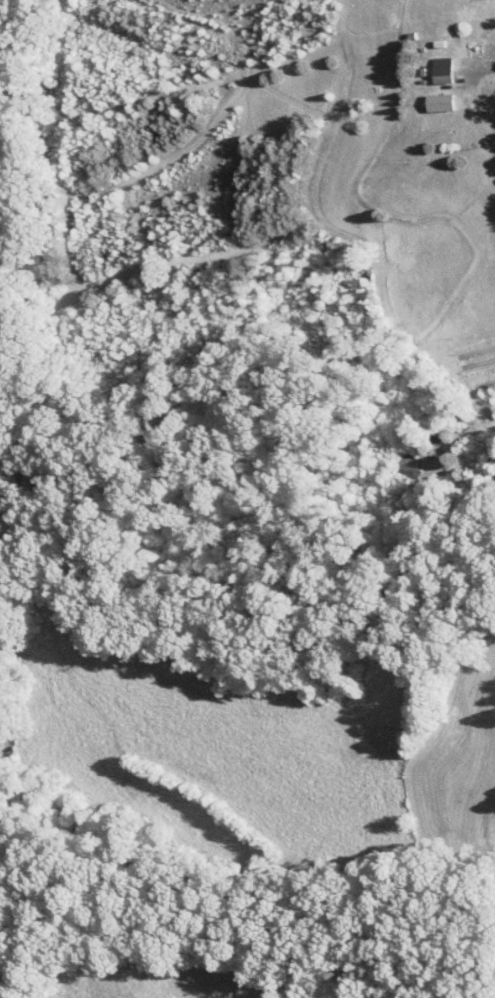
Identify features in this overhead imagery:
building: (440, 70)
road: (470, 434)
building: (408, 464)

